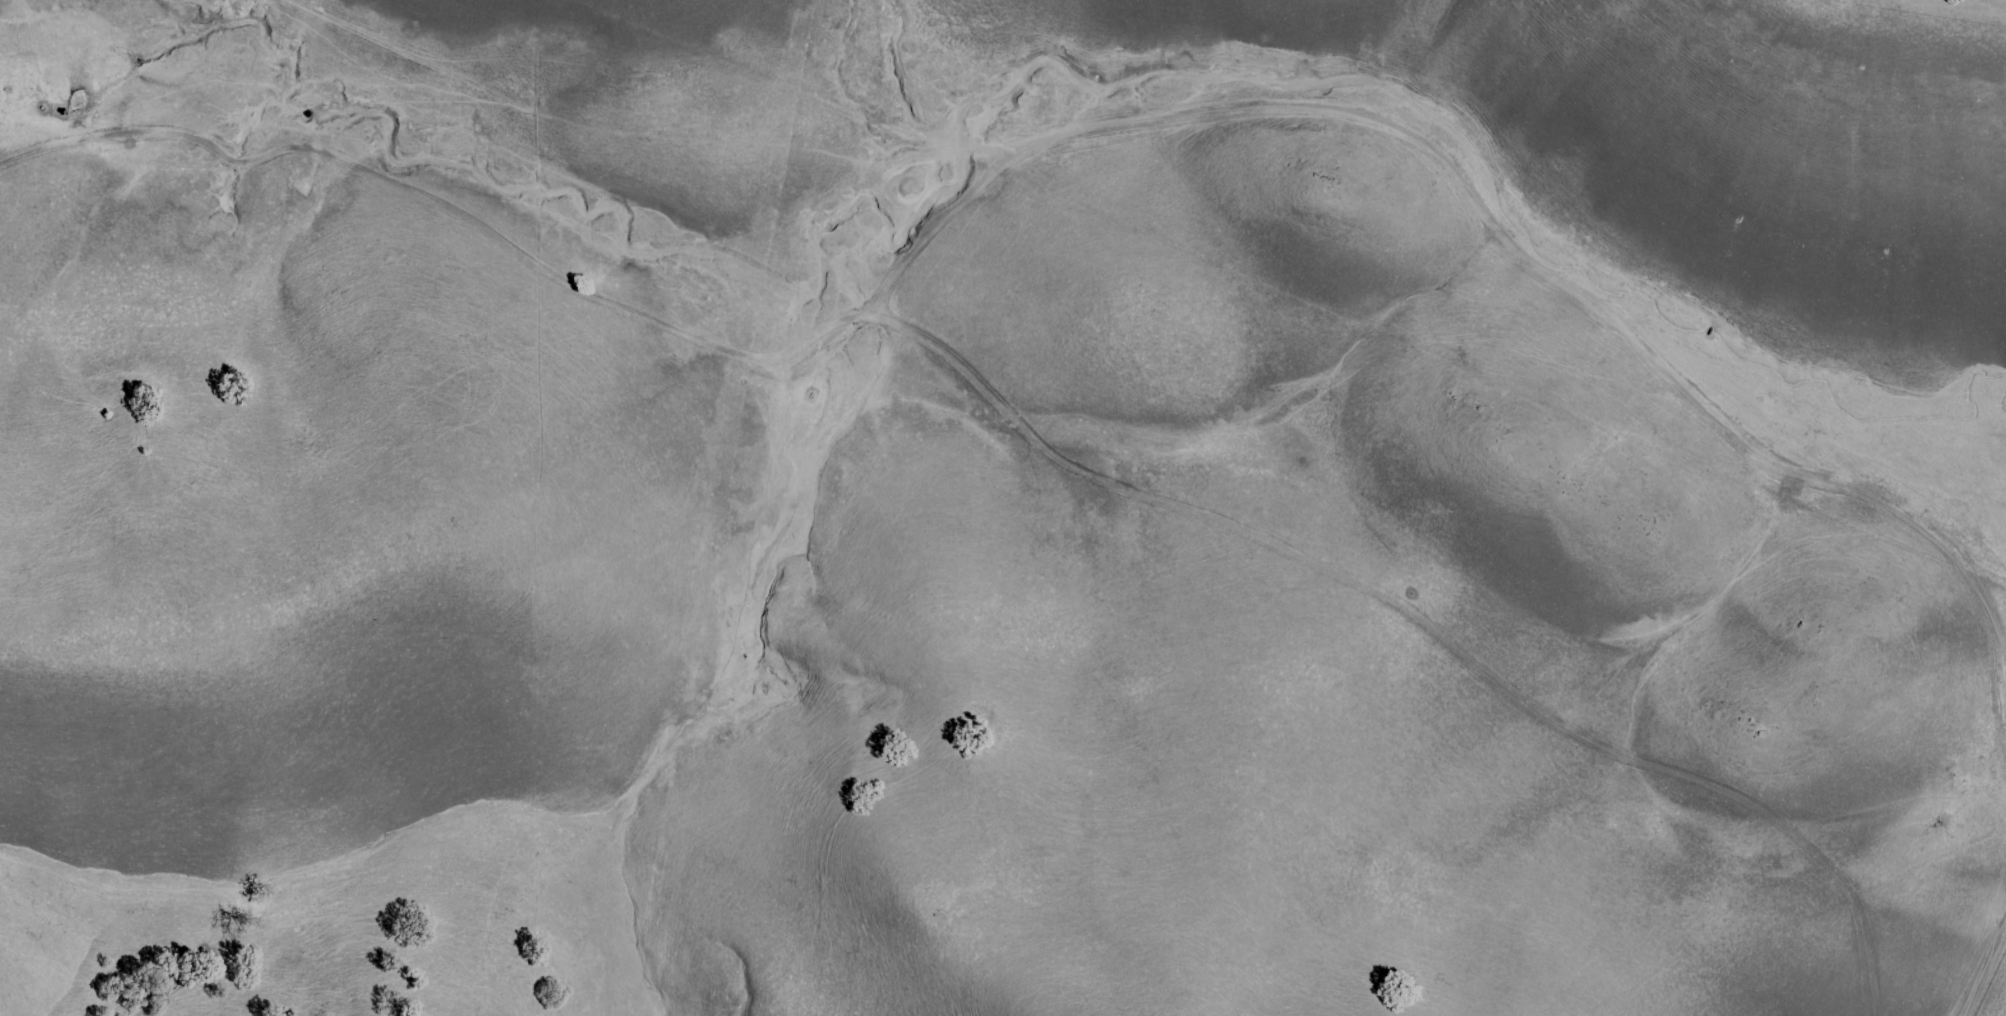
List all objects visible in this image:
road: (1104, 492)

